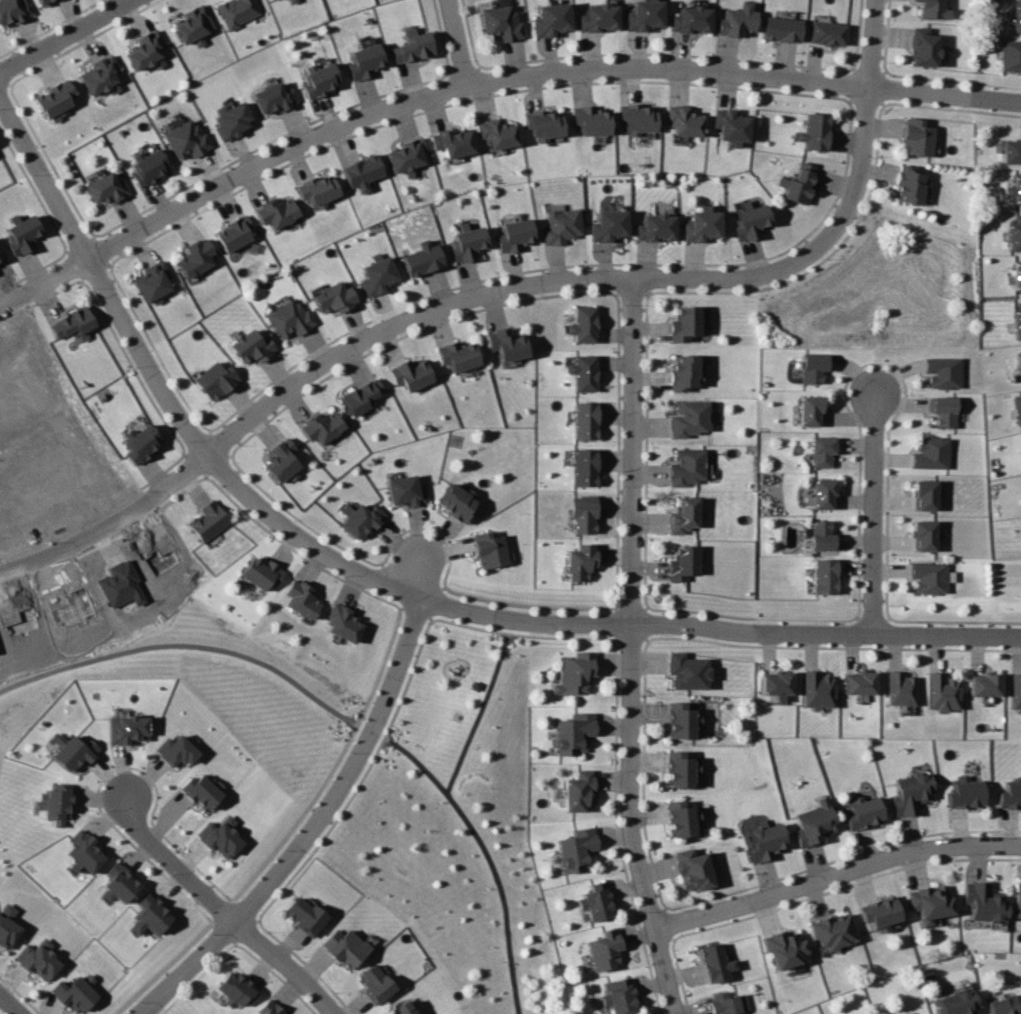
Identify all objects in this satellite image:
building: (44, 1)
building: (292, 1)
building: (934, 9)
building: (13, 10)
building: (238, 11)
building: (643, 14)
building: (1017, 16)
building: (598, 17)
building: (550, 19)
building: (691, 19)
building: (738, 20)
building: (499, 21)
building: (783, 29)
building: (829, 33)
road: (66, 36)
road: (457, 42)
building: (411, 46)
building: (924, 47)
building: (147, 50)
building: (1011, 55)
building: (362, 61)
building: (101, 76)
building: (318, 78)
road: (5, 79)
road: (3, 84)
road: (463, 86)
building: (272, 97)
building: (57, 99)
road: (998, 100)
building: (231, 119)
building: (638, 119)
building: (590, 120)
building: (686, 121)
building: (544, 125)
building: (732, 126)
building: (815, 131)
road: (866, 131)
building: (497, 133)
building: (917, 137)
building: (451, 142)
building: (1011, 150)
building: (405, 156)
building: (148, 165)
building: (361, 172)
building: (801, 183)
building: (909, 185)
building: (105, 188)
building: (1014, 189)
building: (318, 190)
building: (276, 211)
building: (751, 221)
building: (702, 224)
building: (608, 225)
building: (560, 226)
building: (656, 227)
building: (232, 233)
building: (1014, 233)
building: (21, 234)
building: (512, 234)
building: (466, 243)
building: (196, 257)
building: (421, 258)
building: (1016, 274)
building: (375, 275)
building: (153, 282)
building: (332, 297)
road: (455, 302)
building: (288, 317)
building: (1017, 319)
building: (72, 323)
building: (683, 323)
building: (582, 324)
building: (505, 343)
building: (249, 346)
building: (456, 355)
building: (1018, 364)
building: (812, 367)
building: (941, 371)
building: (582, 372)
building: (682, 372)
building: (408, 374)
building: (213, 379)
building: (359, 396)
building: (1017, 407)
building: (809, 409)
building: (943, 410)
building: (689, 418)
building: (583, 420)
building: (320, 427)
building: (140, 442)
building: (823, 450)
building: (930, 453)
building: (281, 461)
building: (580, 465)
building: (686, 467)
building: (403, 490)
building: (824, 493)
building: (925, 494)
building: (454, 501)
building: (581, 513)
building: (683, 515)
road: (875, 515)
building: (358, 520)
building: (207, 521)
road: (428, 527)
road: (73, 534)
building: (925, 535)
building: (823, 536)
building: (486, 549)
building: (580, 562)
building: (682, 563)
road: (346, 566)
building: (260, 573)
building: (825, 575)
road: (418, 576)
road: (409, 577)
building: (930, 577)
road: (390, 584)
building: (299, 599)
road: (432, 602)
road: (412, 610)
building: (340, 623)
road: (718, 628)
road: (185, 646)
road: (632, 647)
building: (687, 671)
building: (574, 673)
building: (776, 683)
building: (859, 683)
building: (984, 684)
building: (474, 685)
building: (900, 688)
building: (817, 689)
building: (1015, 691)
building: (942, 692)
road: (481, 707)
building: (682, 719)
building: (125, 728)
building: (574, 733)
building: (175, 750)
building: (70, 751)
road: (334, 764)
building: (680, 769)
road: (361, 779)
building: (201, 790)
building: (578, 790)
building: (910, 793)
building: (965, 793)
building: (1010, 795)
building: (53, 802)
building: (862, 812)
building: (682, 819)
building: (813, 823)
park: (460, 828)
road: (162, 833)
building: (220, 836)
building: (765, 841)
road: (134, 847)
building: (577, 849)
building: (82, 851)
road: (488, 857)
road: (173, 862)
building: (693, 868)
road: (837, 878)
building: (117, 883)
building: (1017, 900)
building: (984, 901)
building: (594, 902)
building: (929, 902)
road: (222, 910)
road: (246, 912)
building: (880, 913)
building: (149, 914)
building: (305, 916)
building: (7, 925)
road: (224, 931)
road: (243, 931)
building: (835, 931)
building: (345, 946)
building: (603, 949)
building: (787, 949)
building: (36, 958)
building: (715, 962)
road: (286, 965)
road: (307, 965)
road: (164, 968)
road: (277, 976)
road: (198, 978)
building: (376, 983)
building: (235, 989)
building: (73, 992)
road: (19, 995)
building: (618, 996)
building: (727, 1003)
building: (958, 1003)
road: (9, 1005)
building: (1005, 1005)
building: (269, 1008)
building: (402, 1008)
building: (924, 1013)

